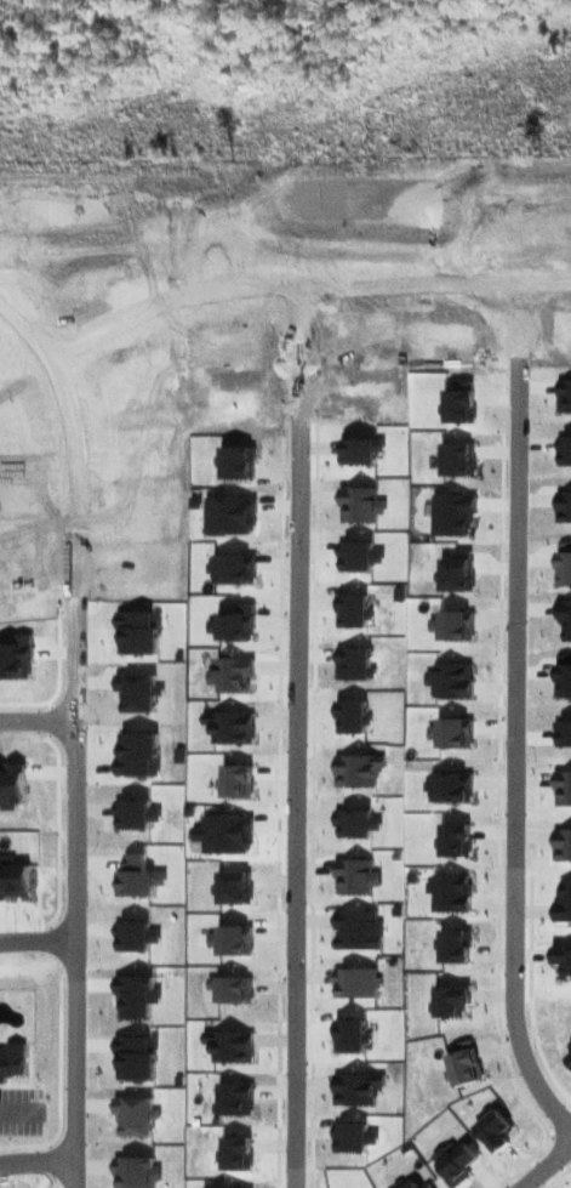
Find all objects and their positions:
road: (302, 285)
road: (513, 714)
road: (36, 721)
road: (74, 732)
road: (295, 737)
road: (36, 942)
road: (18, 1113)
road: (36, 1161)
road: (539, 1164)

